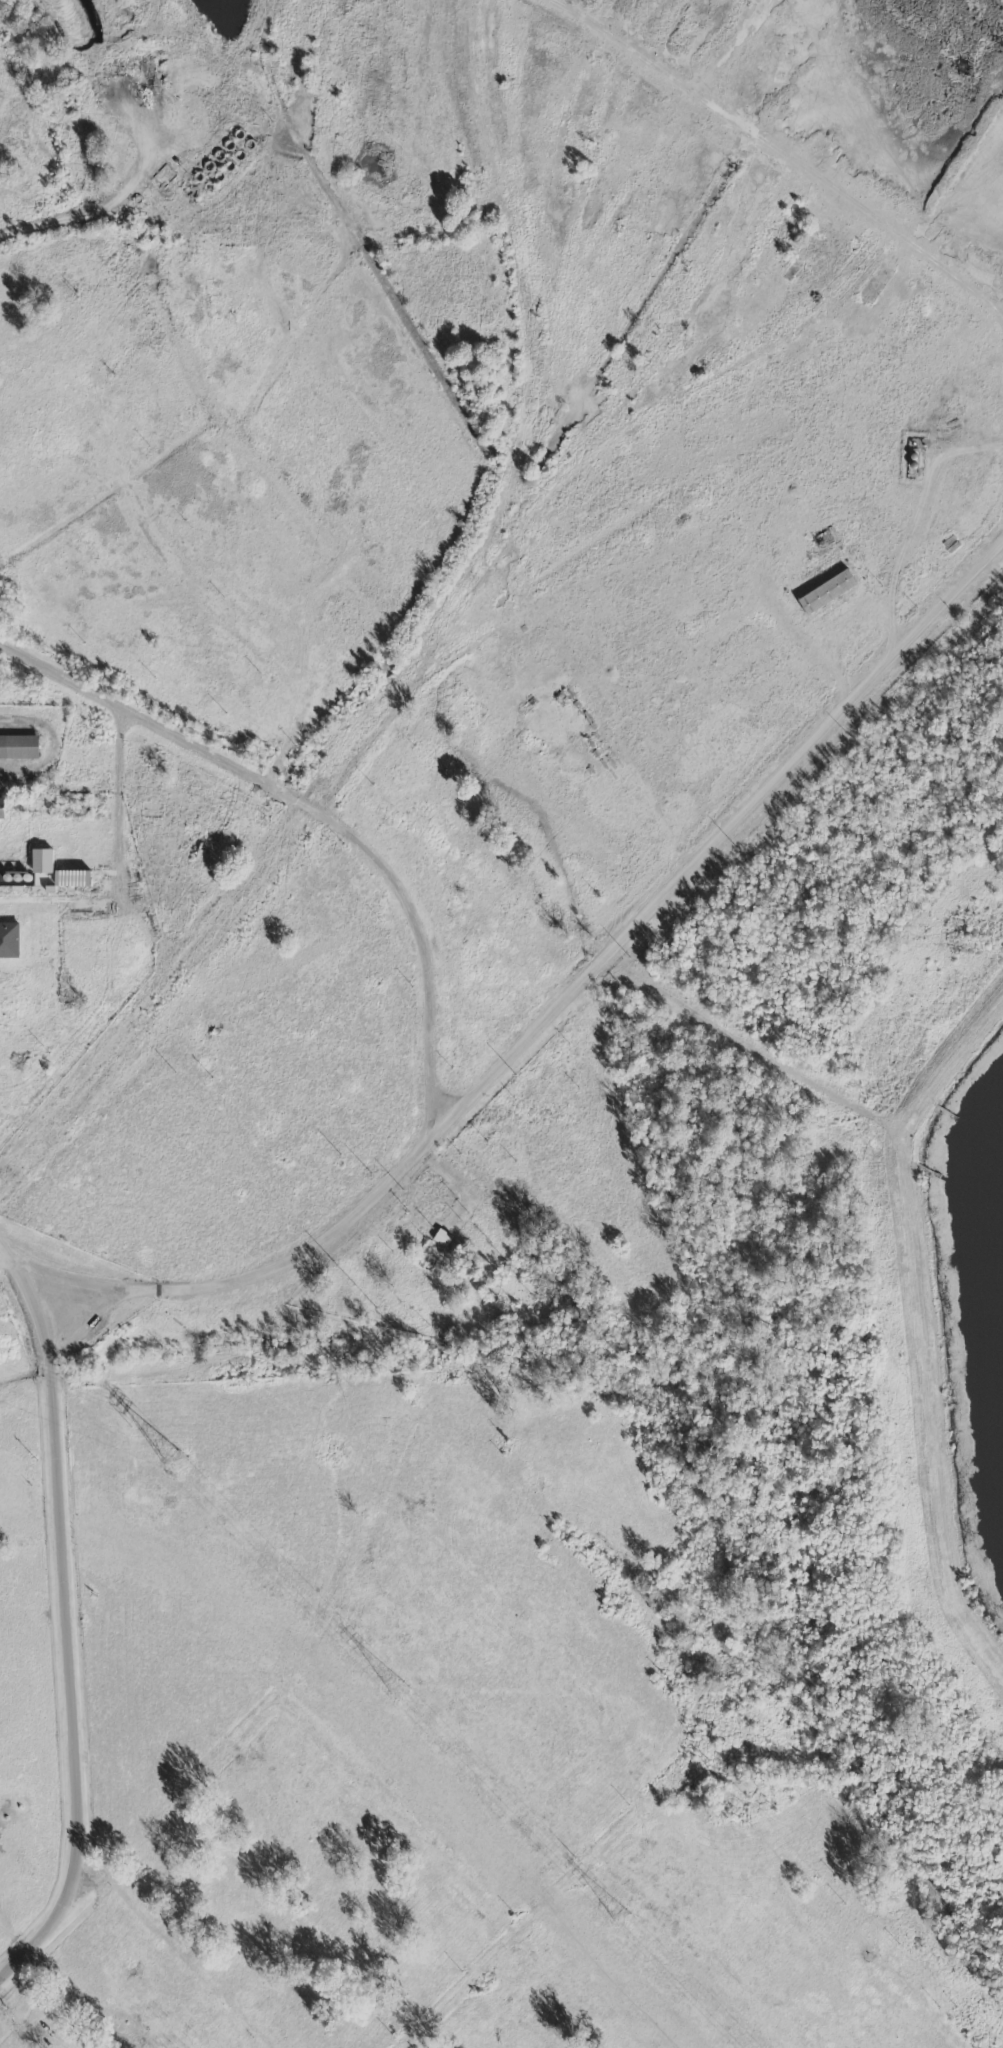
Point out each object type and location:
road: (910, 526)
building: (825, 591)
road: (46, 740)
building: (18, 745)
building: (0, 807)
road: (314, 809)
building: (40, 859)
building: (8, 939)
road: (546, 1018)
road: (748, 1052)
building: (441, 1237)
road: (923, 1314)
power tower: (173, 1462)
road: (51, 1492)
power tower: (398, 1689)
road: (65, 1875)
power tower: (620, 1916)
road: (74, 1999)

